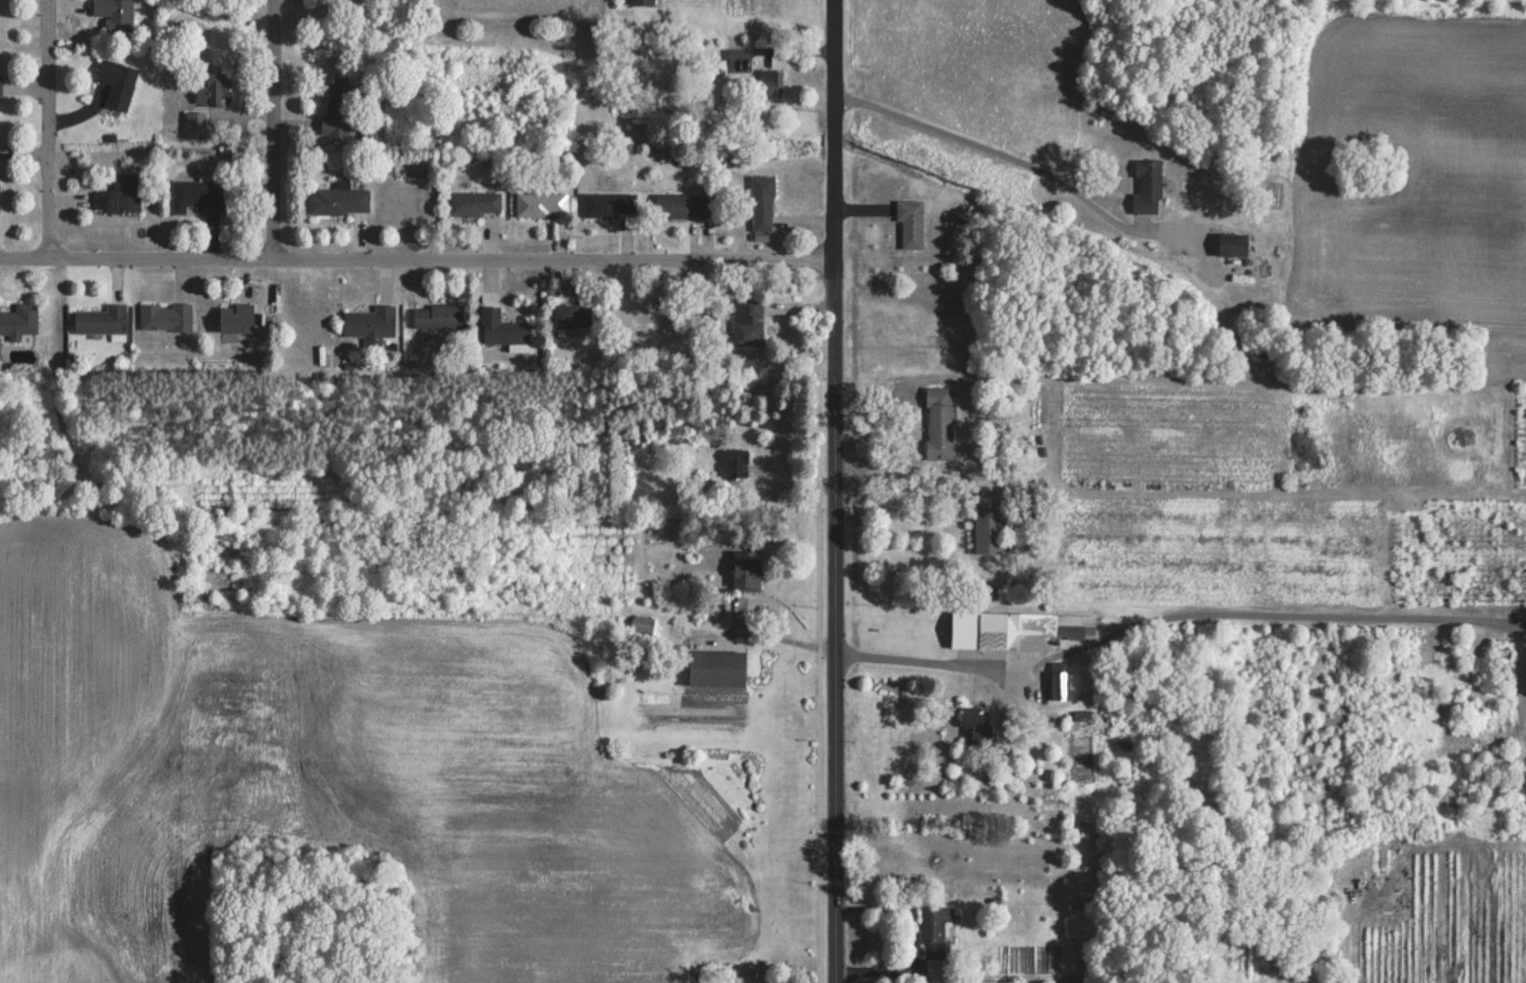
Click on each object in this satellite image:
building: (641, 2)
building: (116, 16)
road: (272, 79)
building: (772, 82)
building: (116, 83)
building: (0, 85)
building: (210, 89)
building: (338, 110)
building: (195, 125)
road: (42, 135)
road: (992, 148)
building: (1148, 186)
building: (120, 195)
building: (196, 195)
building: (342, 200)
building: (475, 202)
building: (541, 203)
building: (609, 203)
building: (763, 203)
building: (686, 205)
road: (270, 213)
building: (911, 222)
building: (1233, 243)
road: (420, 265)
building: (440, 315)
building: (567, 315)
building: (165, 316)
building: (235, 317)
building: (19, 320)
building: (101, 320)
building: (370, 321)
building: (748, 322)
building: (502, 327)
building: (939, 421)
building: (738, 462)
road: (841, 491)
building: (988, 527)
building: (746, 569)
road: (1179, 615)
building: (1017, 629)
road: (776, 636)
building: (717, 667)
building: (1061, 685)
building: (977, 729)
building: (1082, 922)
building: (935, 930)
road: (916, 942)

